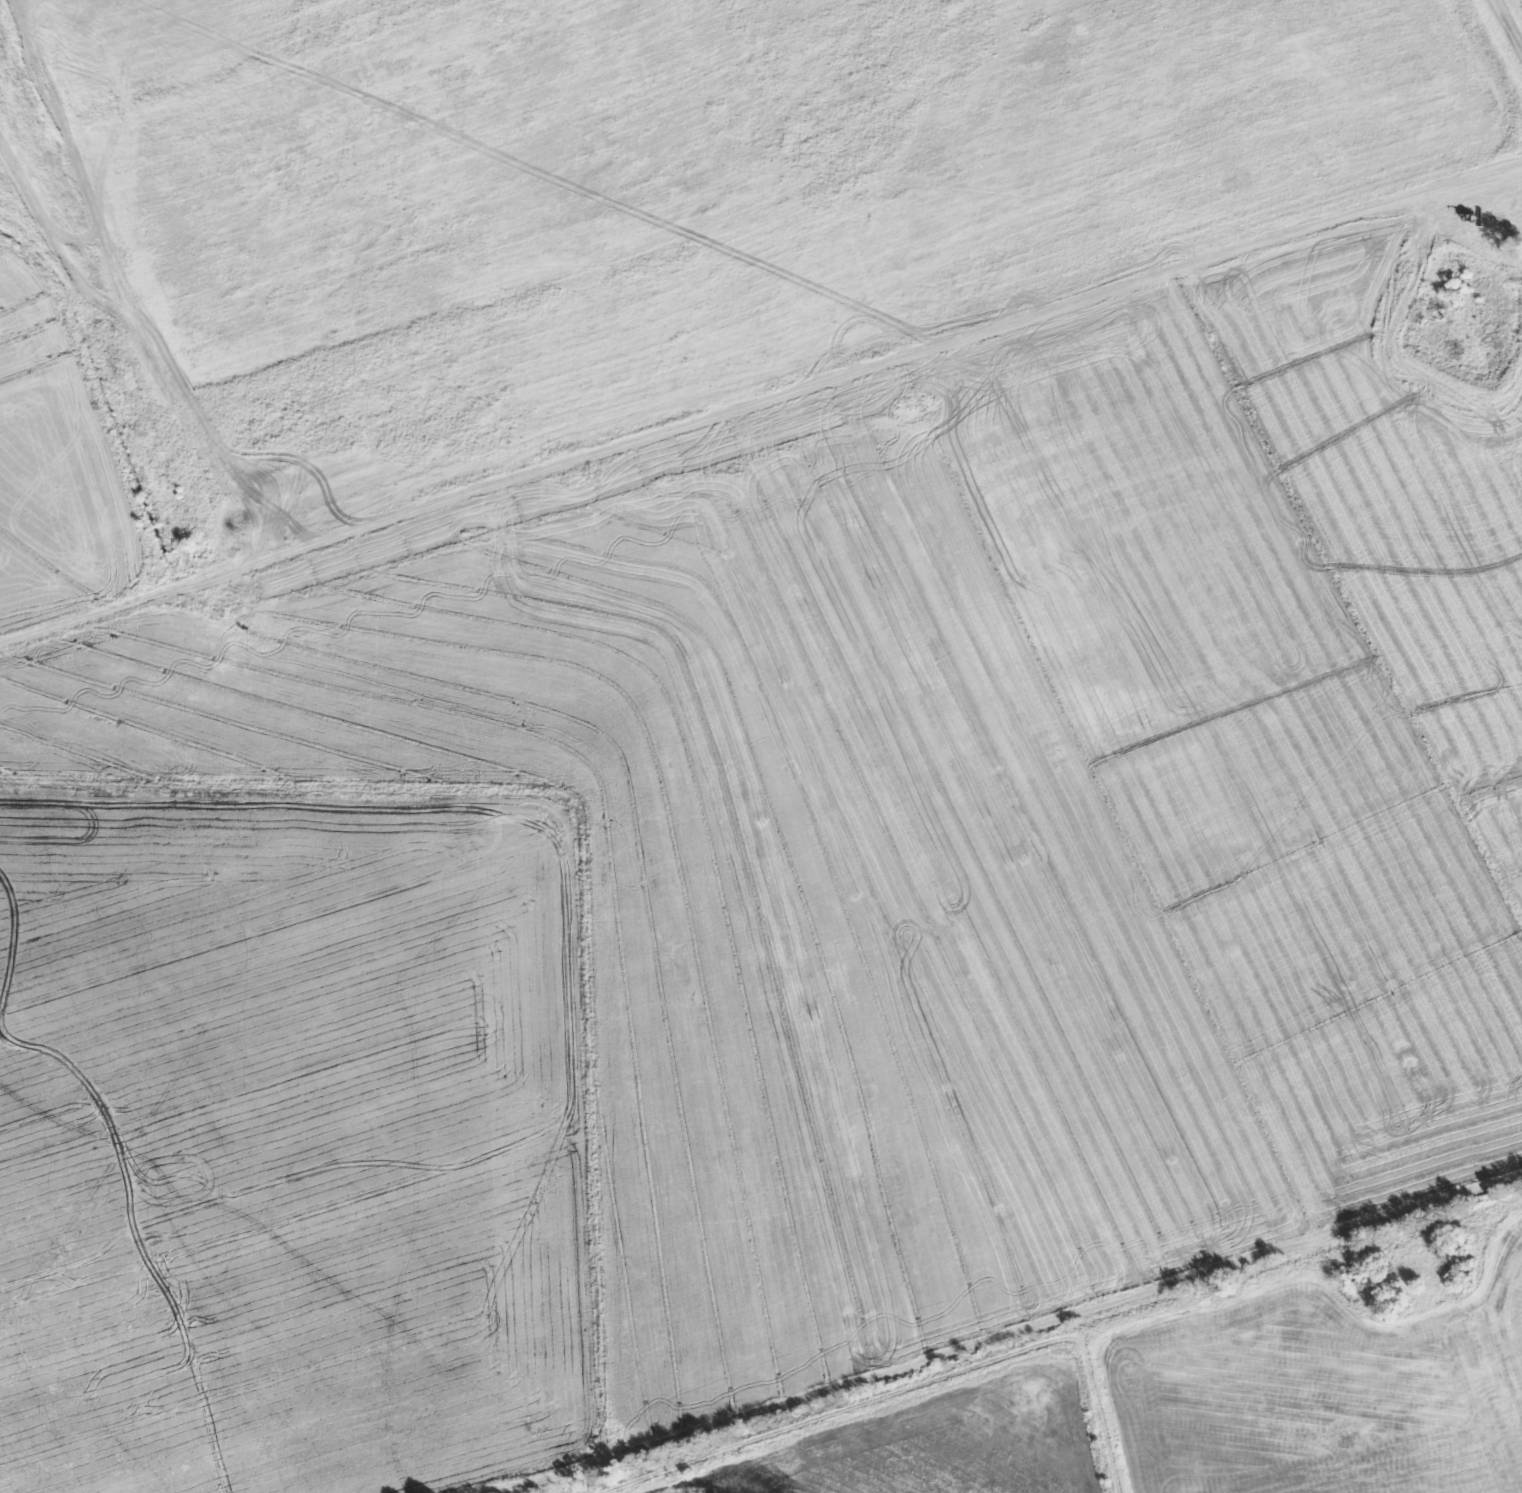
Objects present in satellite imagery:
road: (1508, 24)

